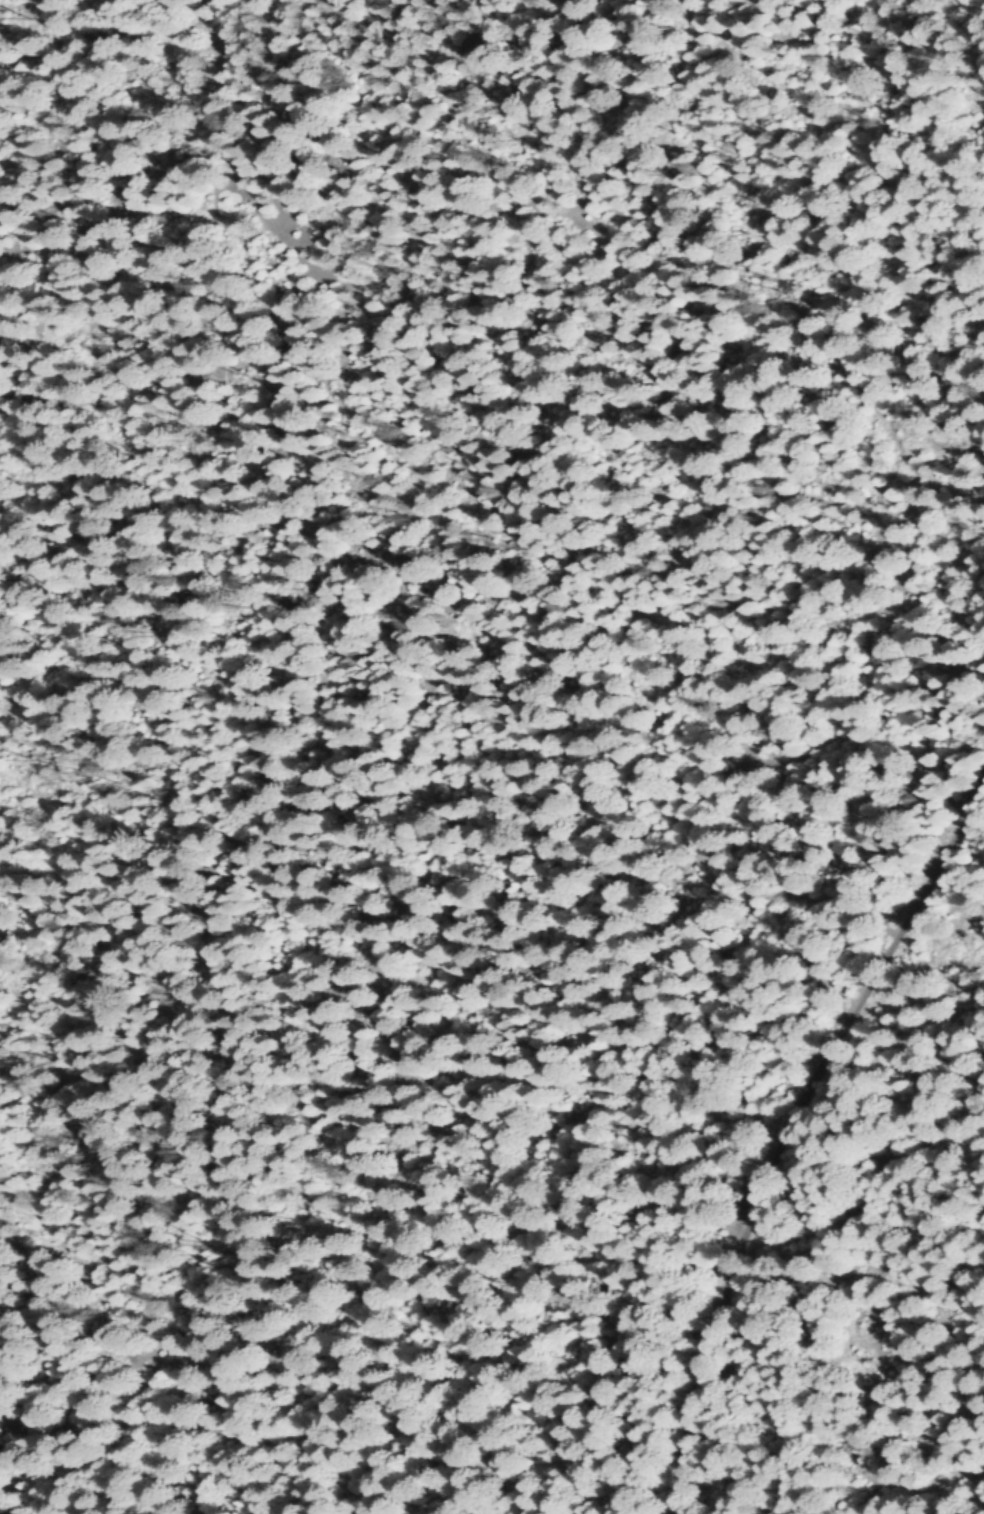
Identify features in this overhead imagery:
road: (788, 1131)

